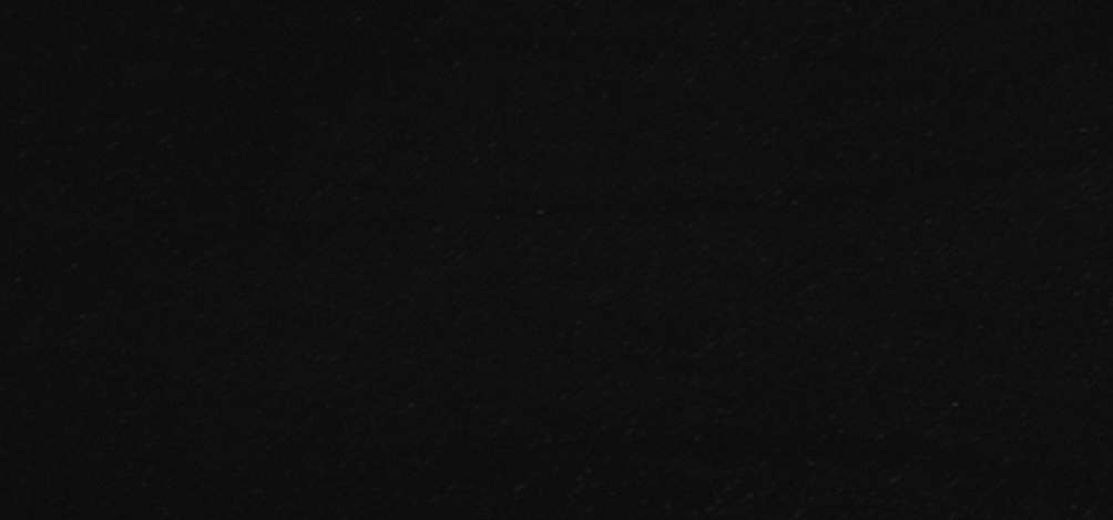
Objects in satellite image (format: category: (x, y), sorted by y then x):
river: (779, 259)

